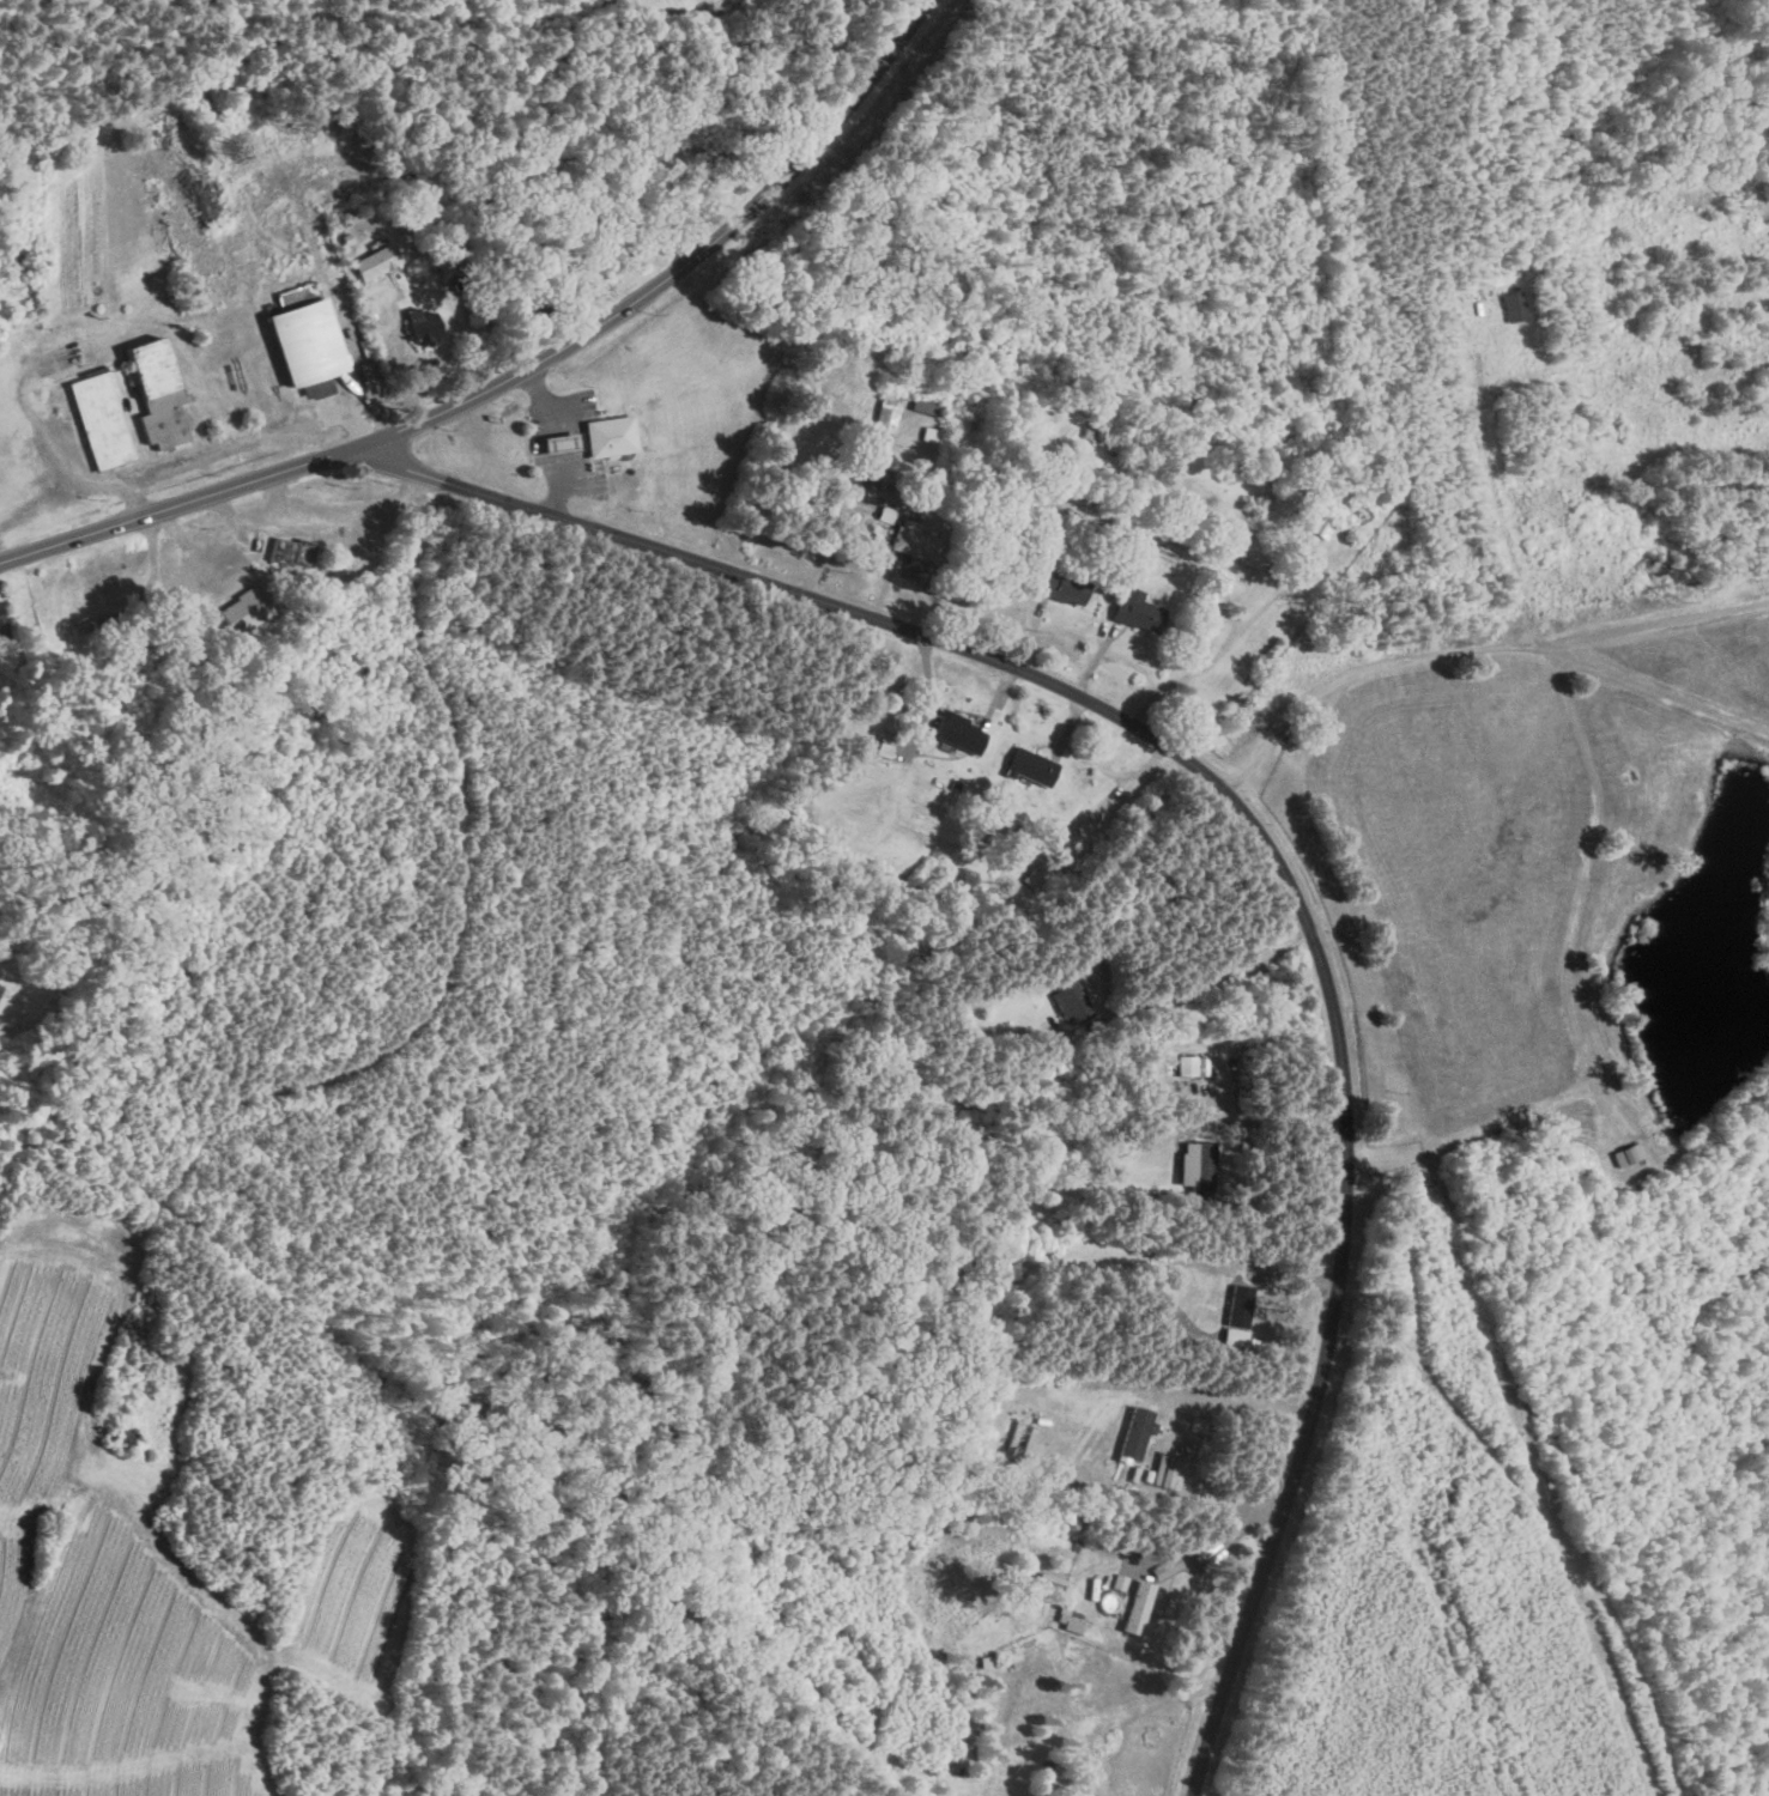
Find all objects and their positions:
crop: (679, 5)
building: (377, 263)
wastewater plant: (19, 280)
building: (307, 290)
building: (424, 327)
building: (308, 345)
road: (520, 371)
building: (159, 398)
building: (927, 408)
building: (886, 417)
building: (102, 421)
building: (608, 427)
gas station: (552, 433)
road: (567, 436)
building: (1107, 441)
building: (562, 445)
building: (882, 480)
road: (280, 497)
road: (317, 518)
building: (1320, 532)
building: (914, 542)
building: (293, 553)
building: (1255, 556)
building: (1067, 591)
building: (246, 612)
building: (1138, 613)
building: (2, 627)
building: (89, 627)
building: (962, 734)
building: (338, 741)
building: (1034, 767)
road: (1261, 837)
building: (1034, 881)
road: (1185, 984)
building: (1, 989)
building: (1073, 1001)
building: (1192, 1067)
road: (1272, 1120)
building: (1198, 1170)
road: (1182, 1424)
building: (1139, 1437)
building: (126, 1440)
building: (1168, 1570)
building: (1139, 1609)

